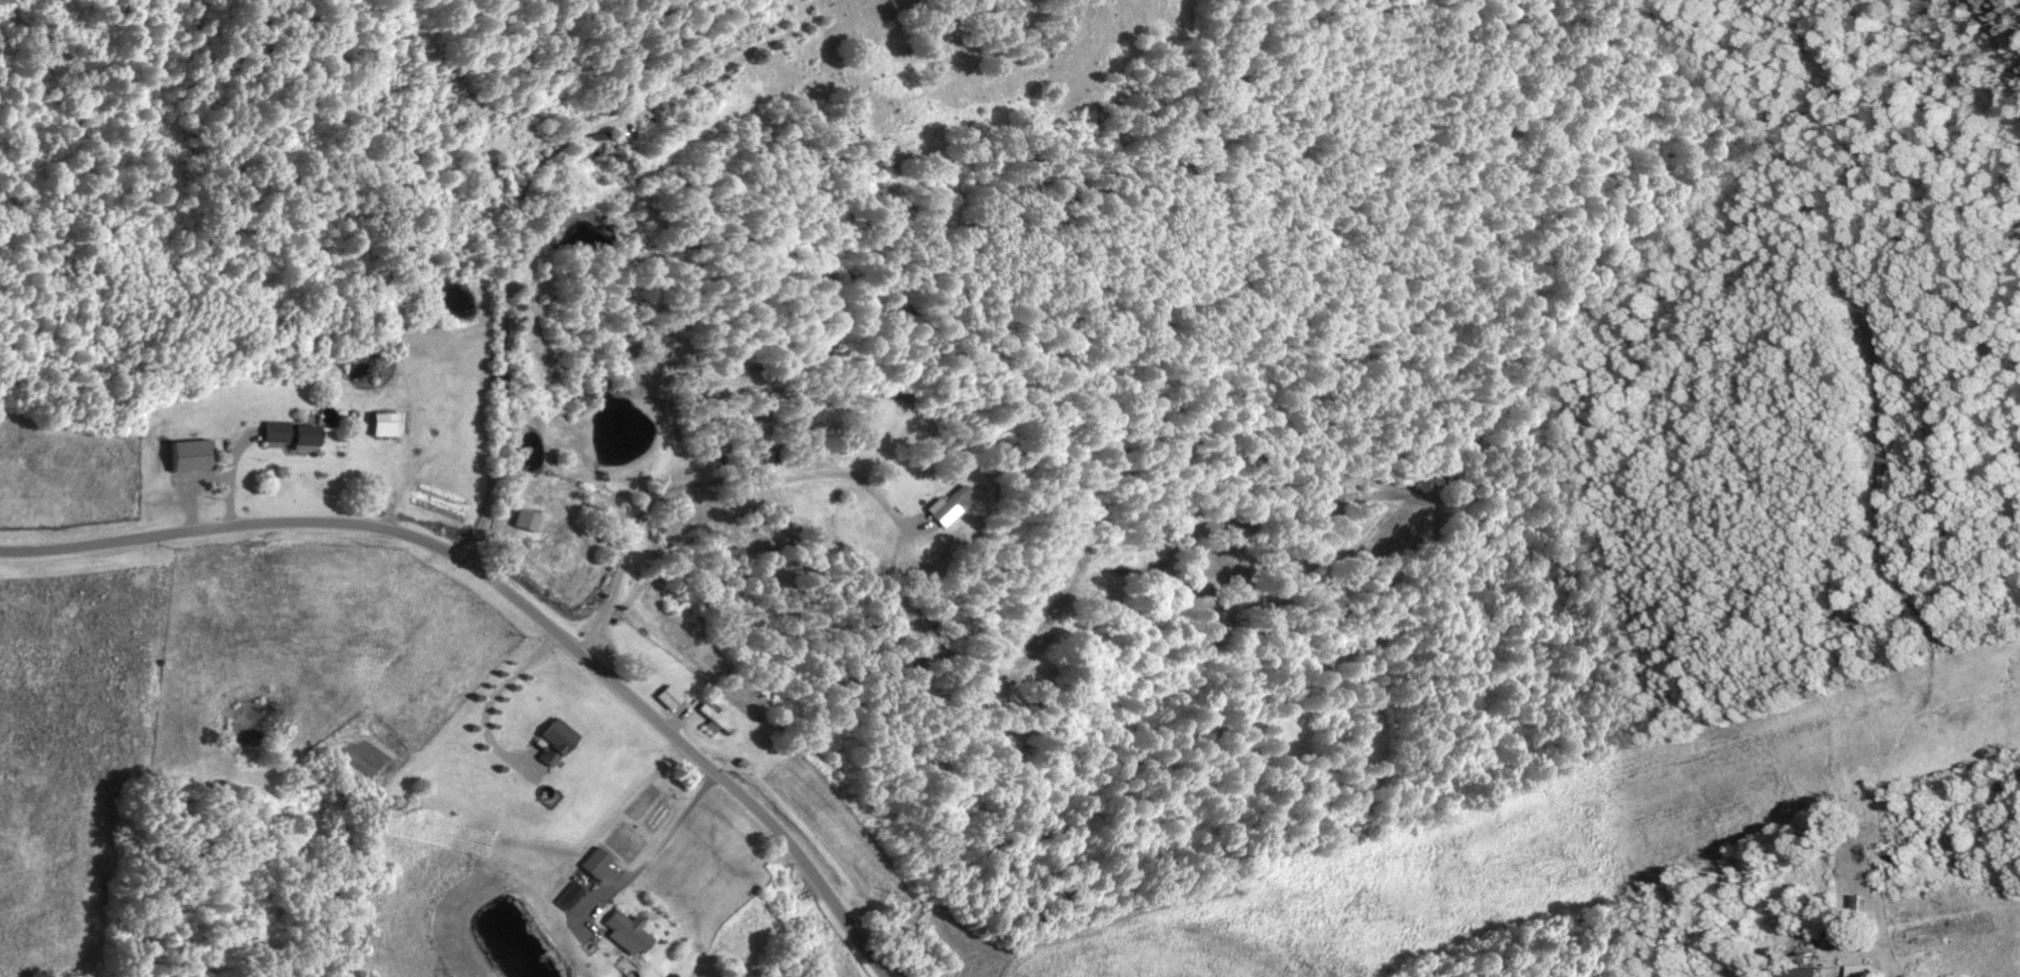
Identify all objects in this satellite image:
building: (505, 166)
building: (505, 187)
road: (501, 265)
building: (762, 426)
building: (296, 436)
building: (194, 456)
building: (950, 507)
building: (528, 521)
road: (590, 545)
road: (514, 597)
building: (668, 697)
building: (712, 719)
building: (560, 741)
building: (598, 862)
building: (572, 895)
building: (629, 932)
building: (1863, 970)
building: (1803, 972)

